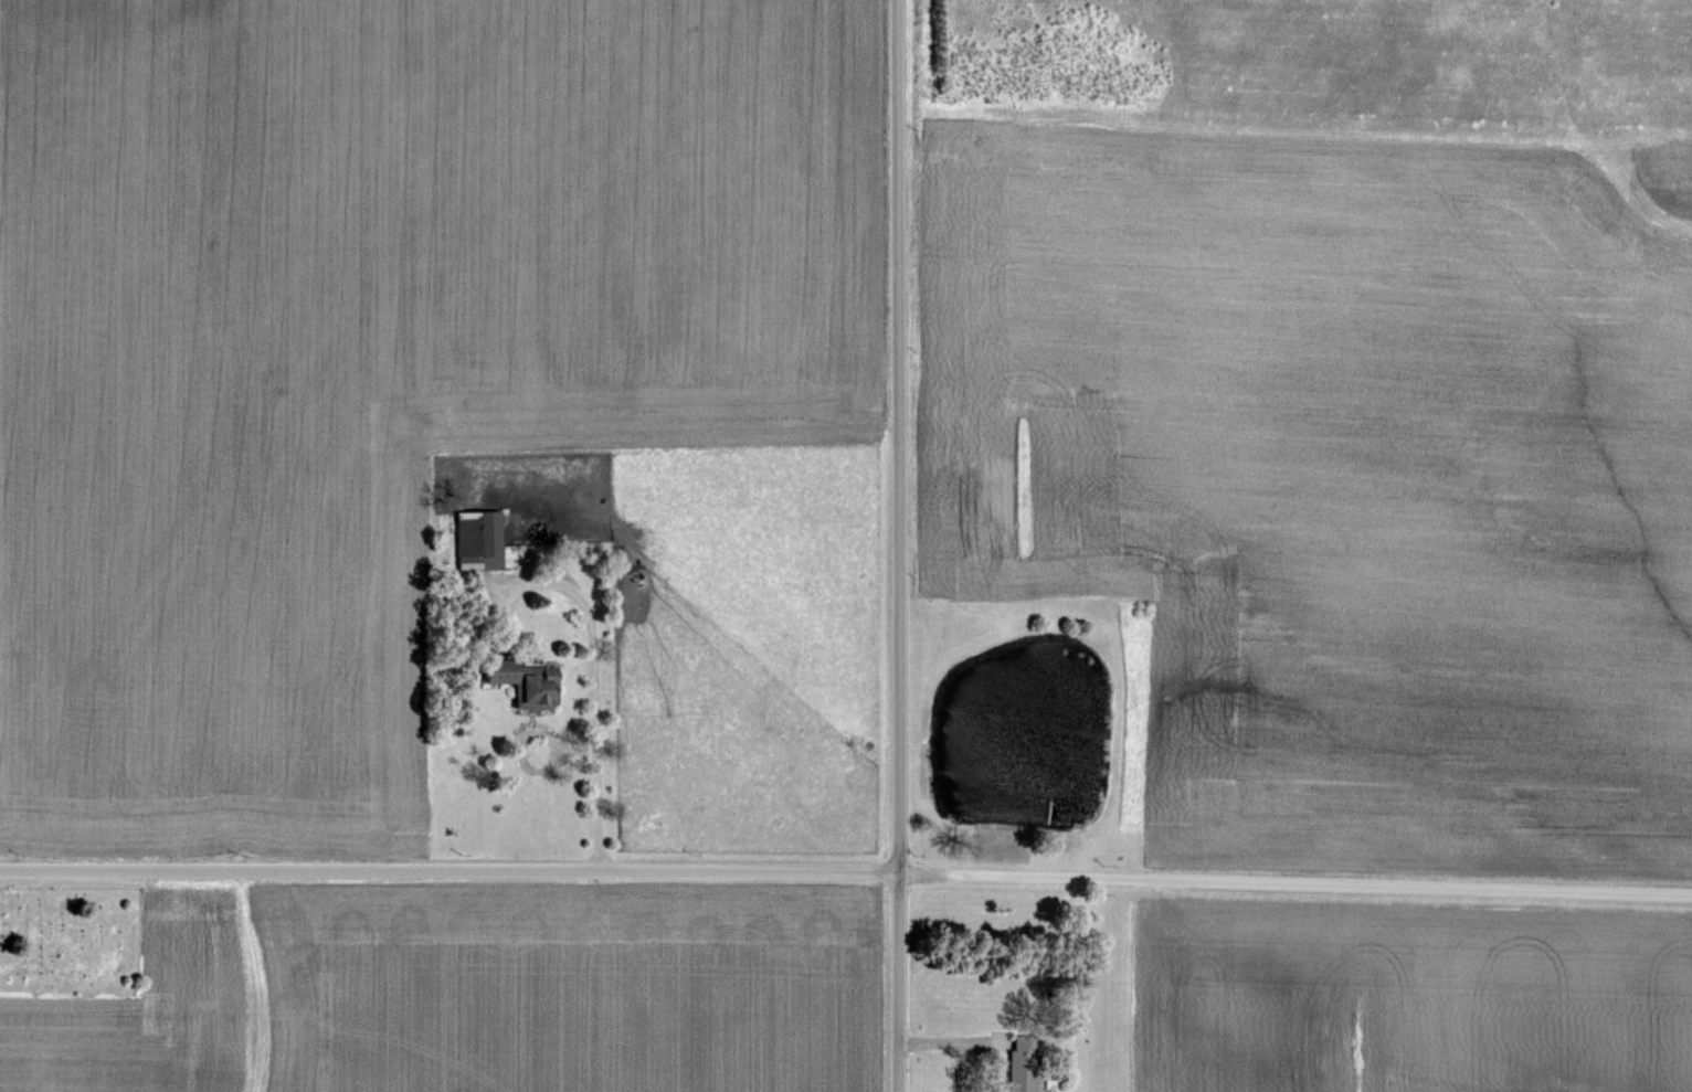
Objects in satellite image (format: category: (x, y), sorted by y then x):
building: (478, 540)
road: (895, 545)
building: (529, 681)
road: (596, 691)
road: (846, 872)
park: (71, 942)

